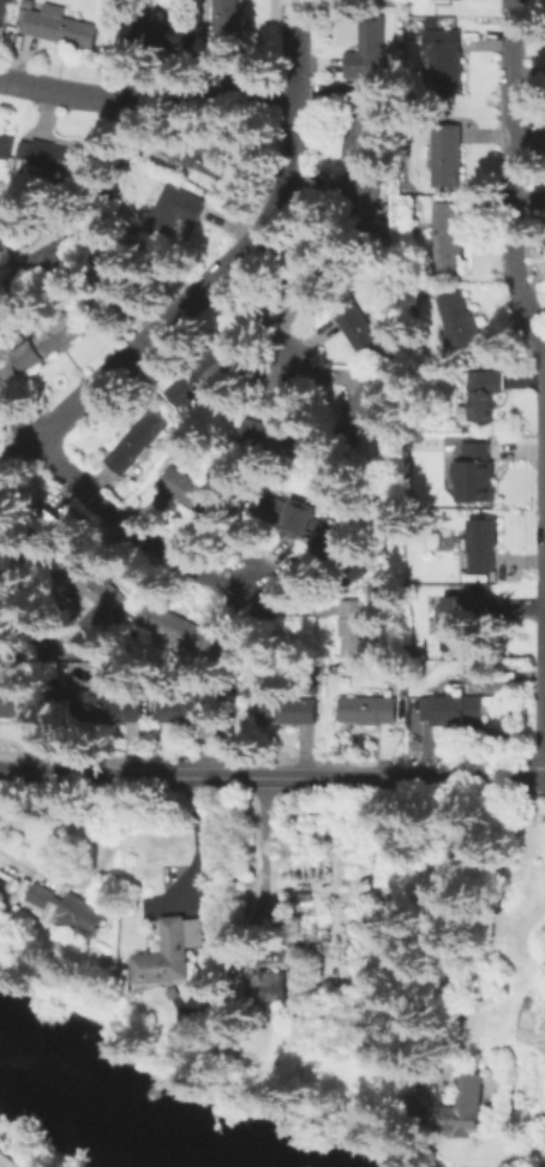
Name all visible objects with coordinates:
building: (448, 1)
building: (6, 13)
building: (58, 26)
building: (227, 28)
building: (154, 35)
building: (367, 50)
building: (444, 66)
road: (150, 100)
building: (357, 130)
road: (531, 139)
building: (6, 147)
building: (445, 157)
building: (199, 159)
building: (65, 160)
road: (515, 181)
building: (361, 198)
building: (168, 214)
building: (2, 238)
building: (448, 242)
building: (116, 261)
building: (41, 269)
road: (222, 274)
building: (309, 279)
building: (460, 325)
road: (264, 326)
building: (364, 337)
building: (50, 344)
building: (228, 356)
building: (190, 388)
building: (484, 395)
building: (364, 410)
road: (18, 417)
building: (277, 440)
building: (138, 442)
building: (483, 475)
building: (196, 496)
building: (288, 513)
road: (138, 531)
building: (484, 547)
building: (342, 559)
building: (101, 585)
building: (463, 623)
building: (178, 629)
building: (354, 630)
building: (23, 707)
building: (107, 710)
building: (182, 711)
building: (289, 711)
building: (453, 711)
building: (375, 713)
road: (34, 773)
road: (307, 778)
road: (257, 846)
road: (193, 855)
building: (70, 911)
building: (166, 957)
building: (268, 987)
river: (127, 1097)
building: (465, 1112)
road: (7, 1161)
road: (7, 1161)

